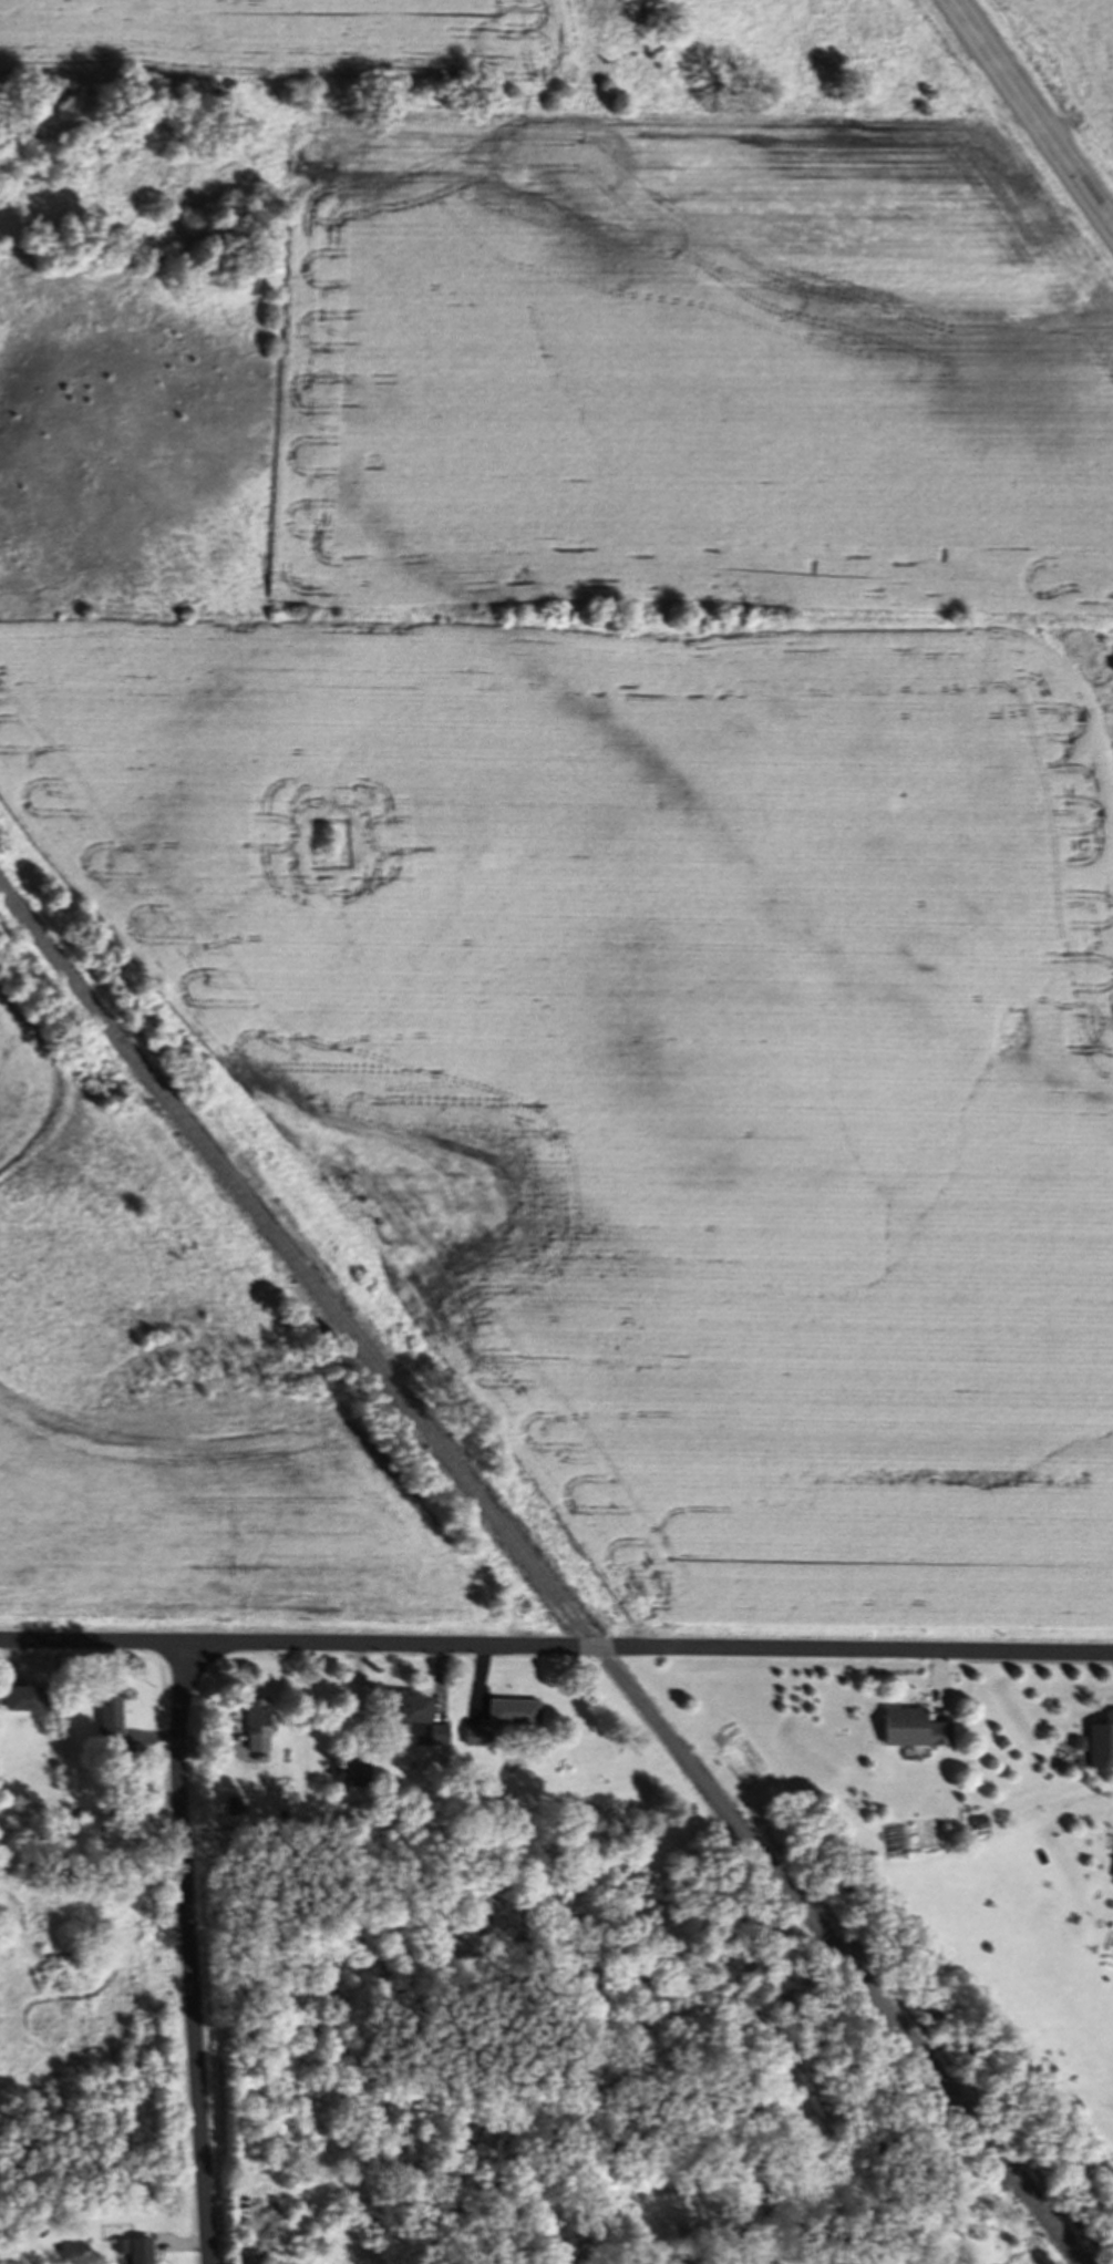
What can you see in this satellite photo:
road: (1031, 114)
railway: (540, 1575)
road: (556, 1649)
building: (17, 1702)
building: (512, 1716)
building: (409, 1717)
building: (107, 1723)
building: (255, 1729)
building: (910, 1732)
building: (1100, 1746)
building: (350, 1778)
building: (1112, 1883)
road: (190, 1952)
building: (135, 2252)

